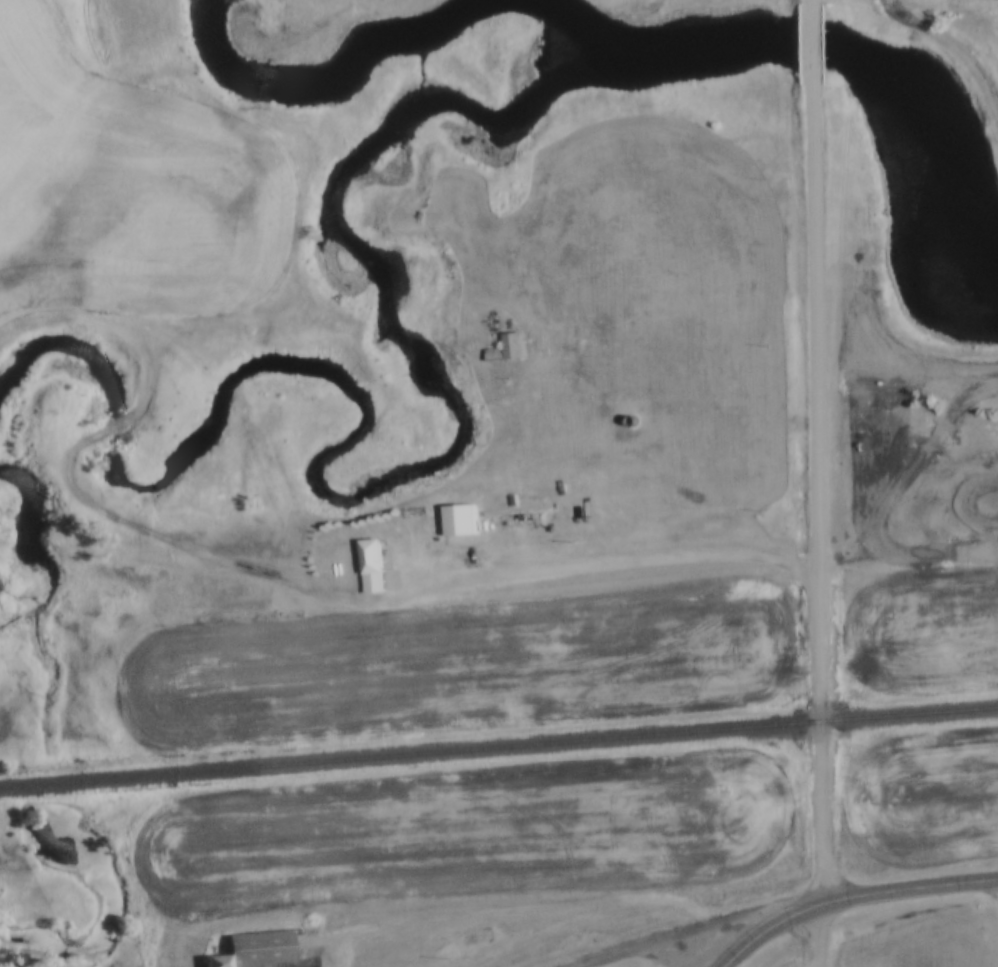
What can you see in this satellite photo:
road: (817, 2)
road: (953, 13)
road: (817, 44)
road: (289, 248)
building: (503, 350)
building: (628, 425)
silo: (628, 425)
road: (509, 459)
road: (86, 498)
building: (508, 501)
building: (517, 518)
building: (454, 523)
road: (820, 525)
road: (523, 553)
building: (367, 567)
railway: (910, 714)
railway: (411, 755)
road: (910, 890)
road: (522, 910)
road: (698, 930)
road: (770, 930)
building: (254, 948)
building: (211, 961)
road: (820, 963)

